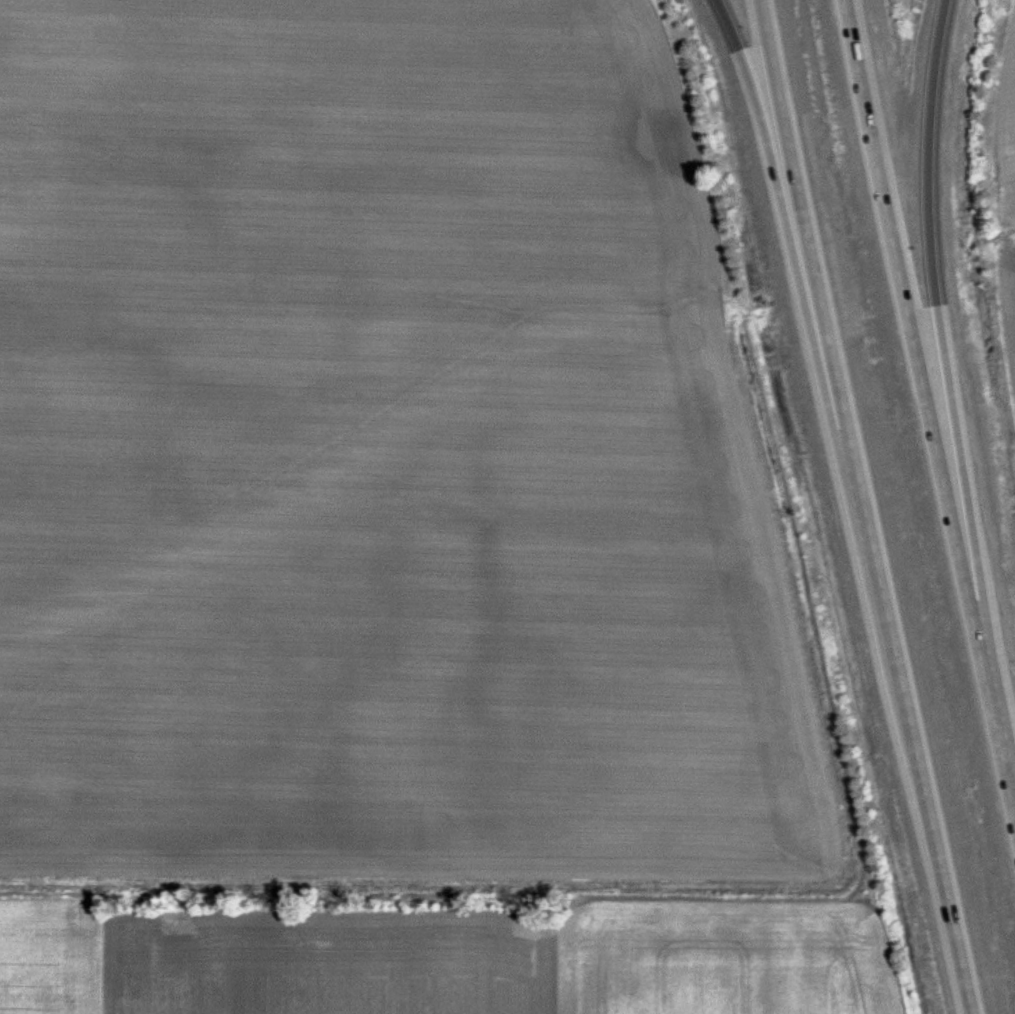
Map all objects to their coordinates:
road: (771, 151)
road: (923, 222)
road: (927, 396)
road: (859, 508)

